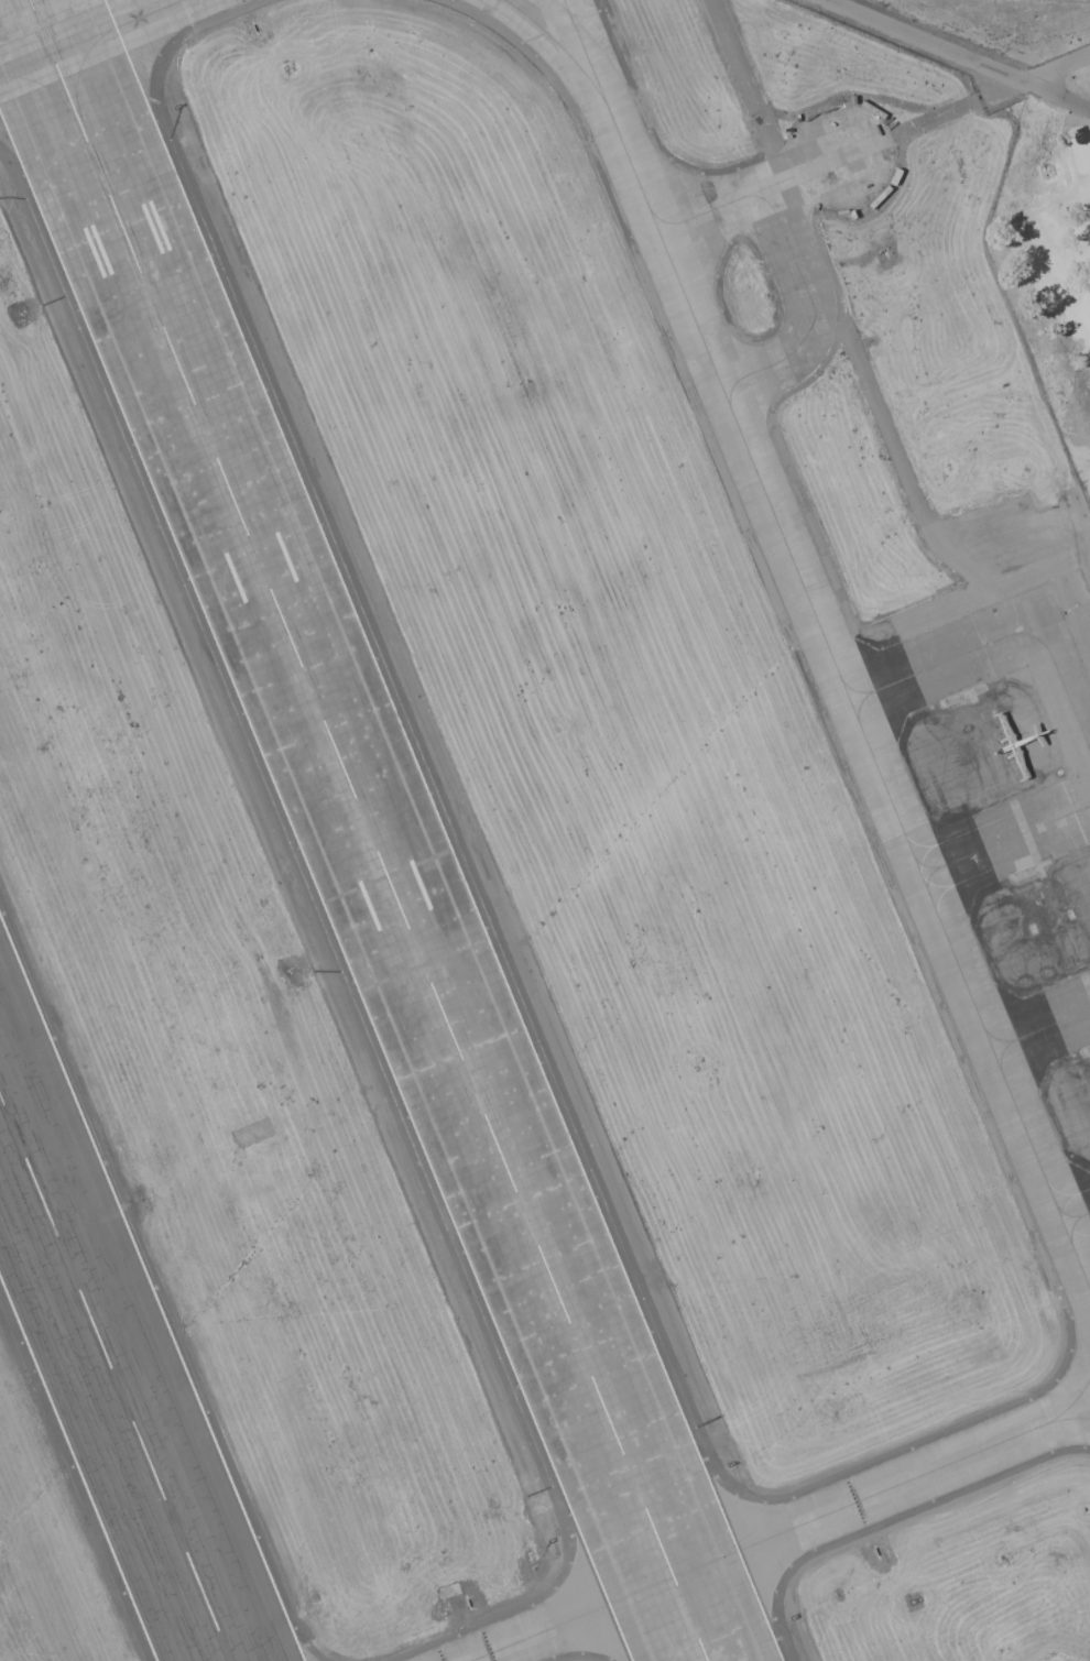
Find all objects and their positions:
airport taxiway: (95, 39)
airport taxiway: (555, 52)
road: (958, 55)
road: (749, 90)
road: (967, 107)
airport taxiway: (752, 195)
park: (1051, 251)
airport taxiway: (815, 308)
airport taxiway: (828, 642)
airport apron: (1006, 766)
airport runway: (369, 830)
airport: (532, 848)
airport runway: (116, 1376)
airport taxiway: (783, 1534)

